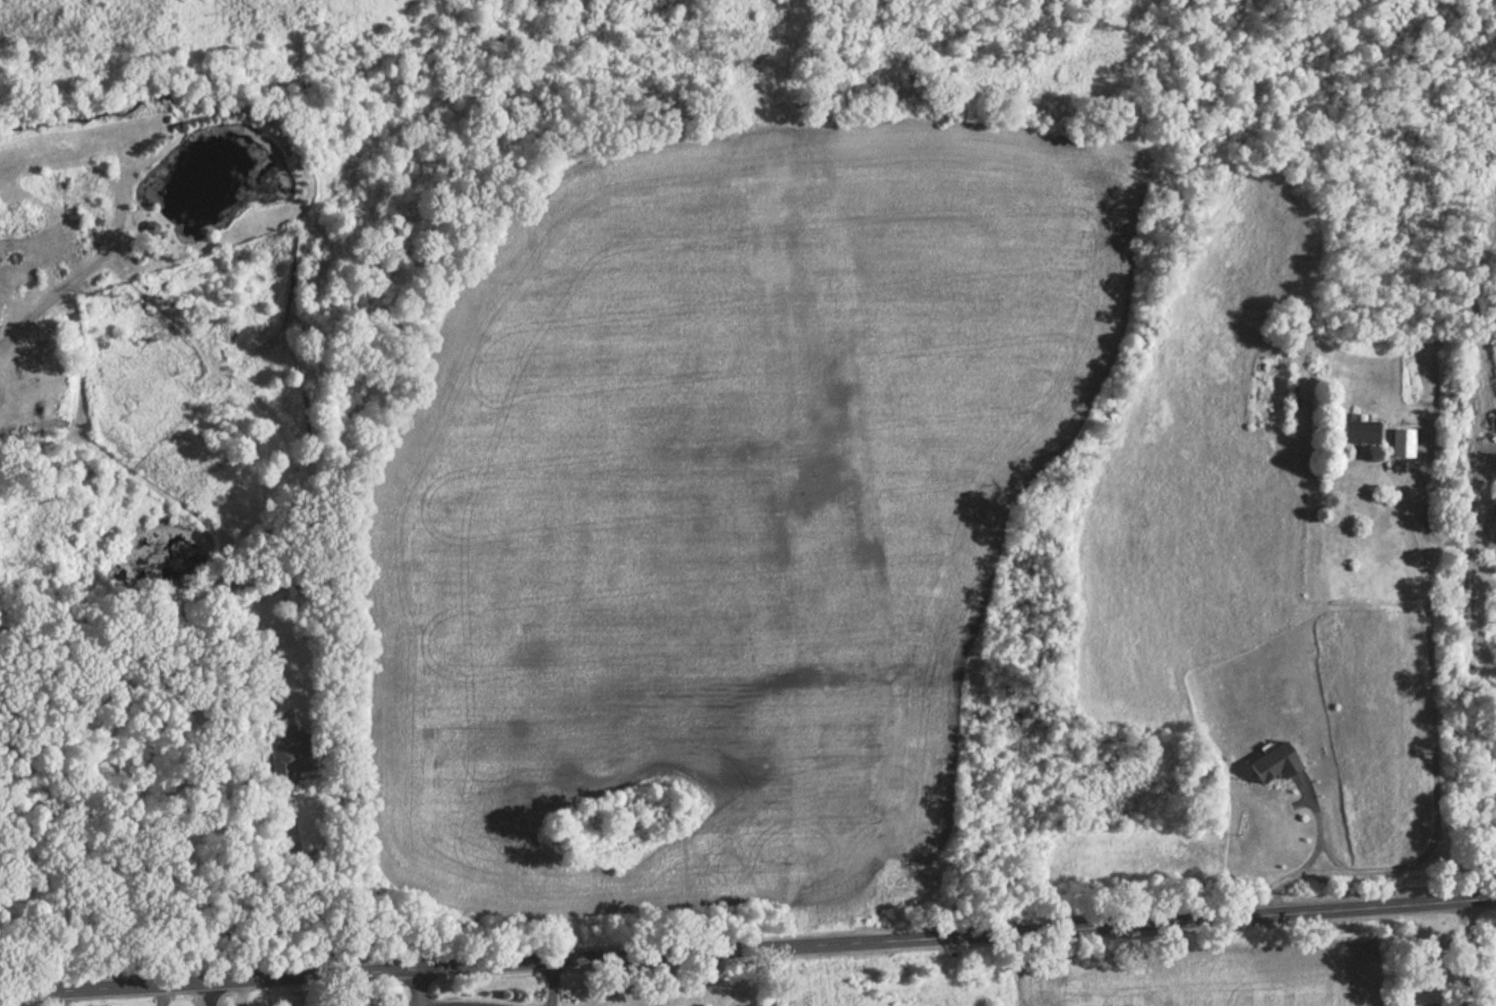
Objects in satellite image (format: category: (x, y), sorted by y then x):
building: (1355, 432)
building: (1399, 443)
crop: (725, 514)
building: (300, 752)
road: (1435, 756)
road: (1322, 828)
road: (1337, 852)
road: (304, 893)
road: (748, 948)
road: (1461, 951)
road: (552, 984)
road: (412, 988)
crop: (1103, 988)
road: (240, 993)
road: (209, 994)
road: (161, 996)
road: (64, 999)

